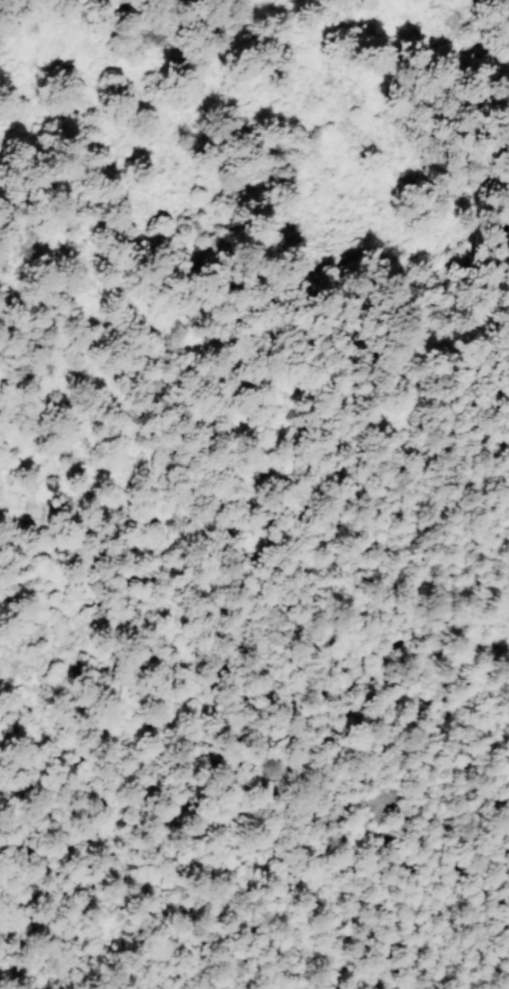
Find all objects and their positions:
road: (239, 366)

